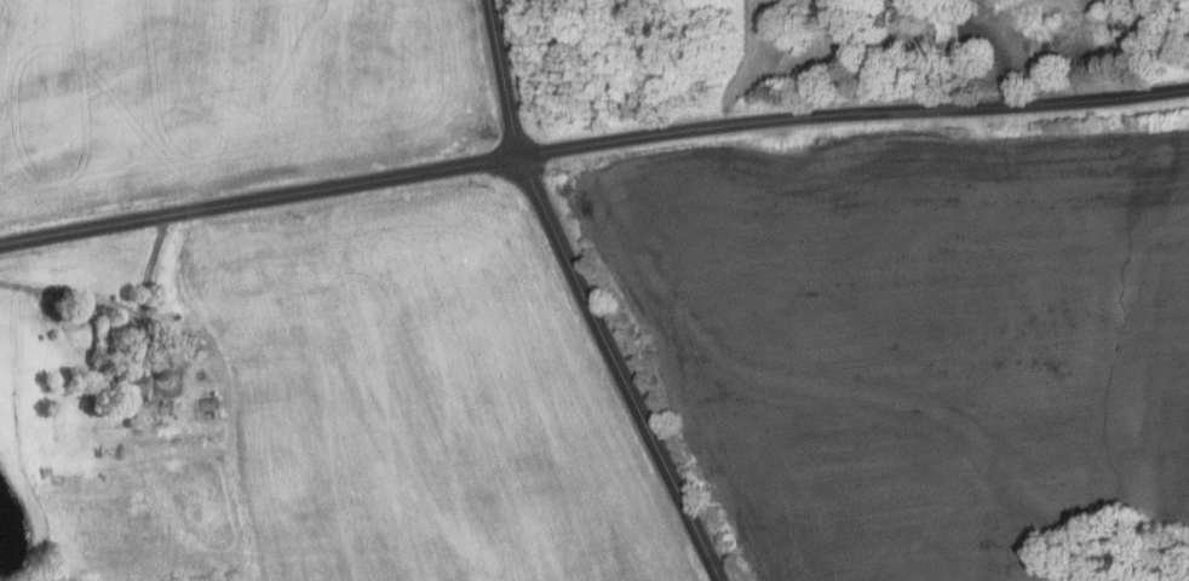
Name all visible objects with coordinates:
road: (490, 15)
road: (1000, 46)
road: (967, 63)
road: (852, 114)
road: (259, 199)
road: (143, 299)
road: (592, 310)
building: (128, 389)
building: (214, 393)
building: (209, 403)
building: (209, 415)

